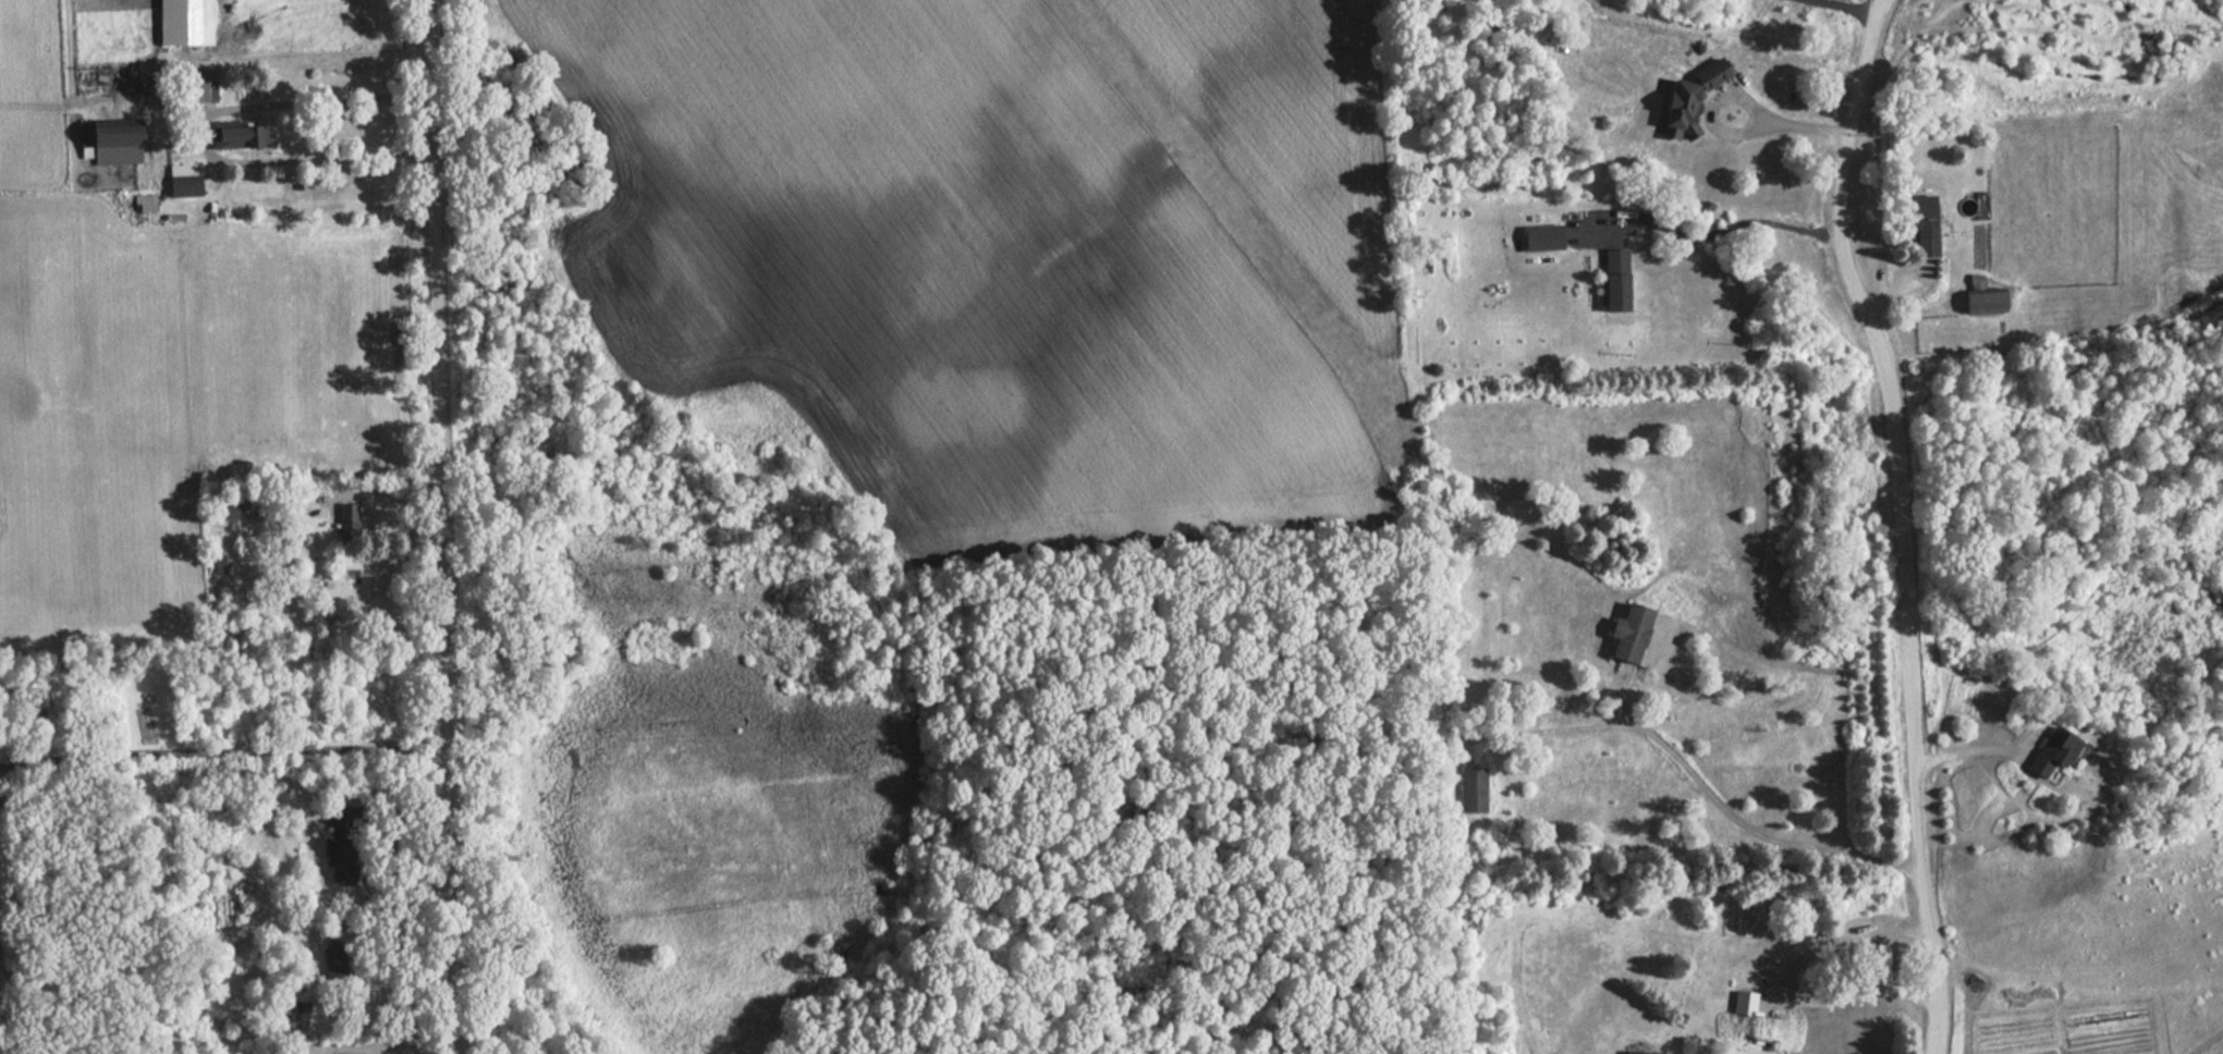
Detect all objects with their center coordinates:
road: (1844, 5)
building: (187, 23)
building: (1691, 98)
crop: (1282, 124)
road: (1725, 134)
building: (242, 135)
road: (203, 136)
building: (114, 142)
building: (186, 179)
building: (1931, 225)
road: (1700, 237)
building: (1542, 238)
crop: (940, 267)
building: (1615, 280)
road: (1898, 290)
building: (1986, 303)
building: (349, 518)
road: (1898, 519)
road: (432, 527)
building: (1629, 633)
road: (219, 743)
road: (1974, 751)
building: (2054, 752)
building: (1473, 790)
road: (1735, 821)
building: (342, 843)
road: (1827, 945)
building: (334, 960)
road: (1854, 998)
building: (1745, 1004)
building: (1644, 1053)
building: (2050, 1053)

